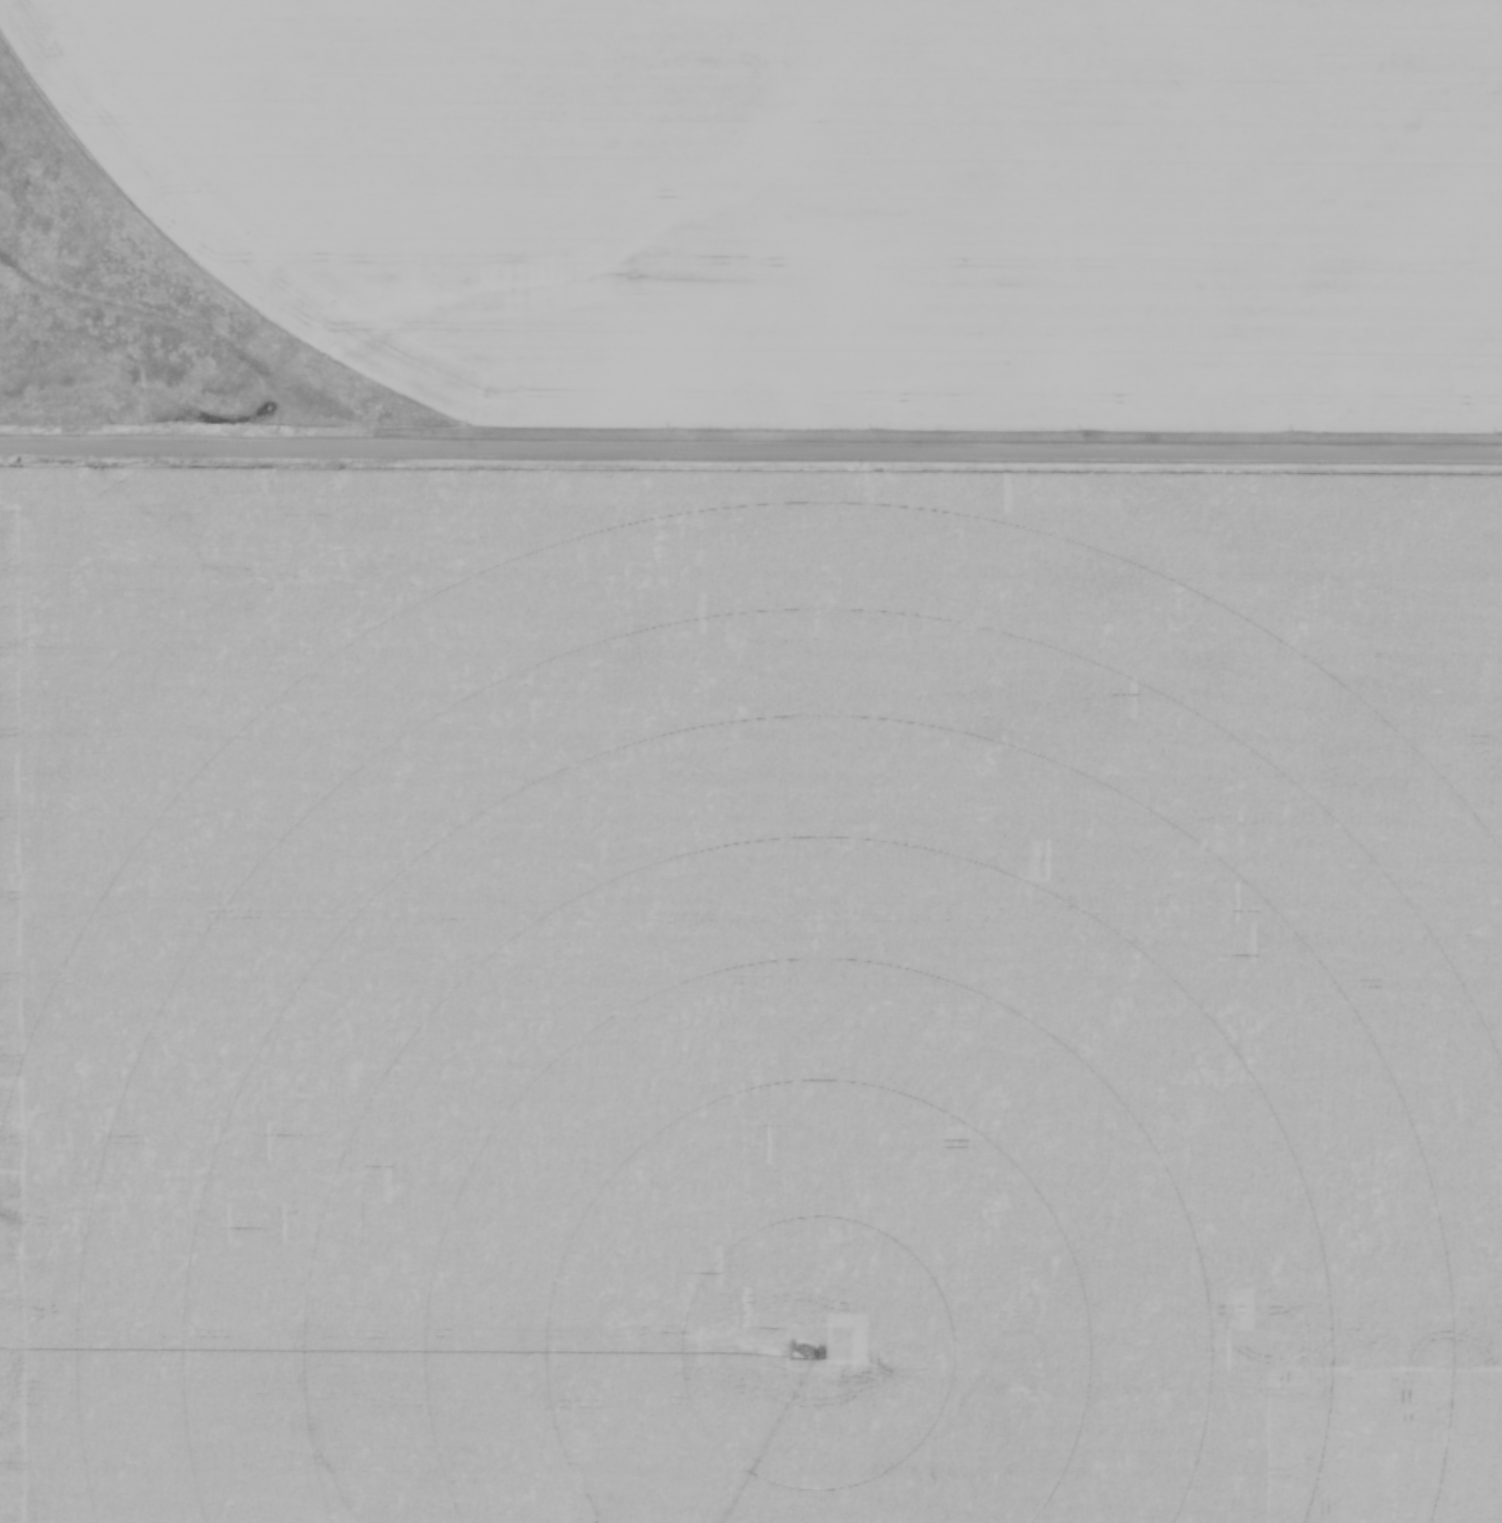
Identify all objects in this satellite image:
road: (750, 454)

